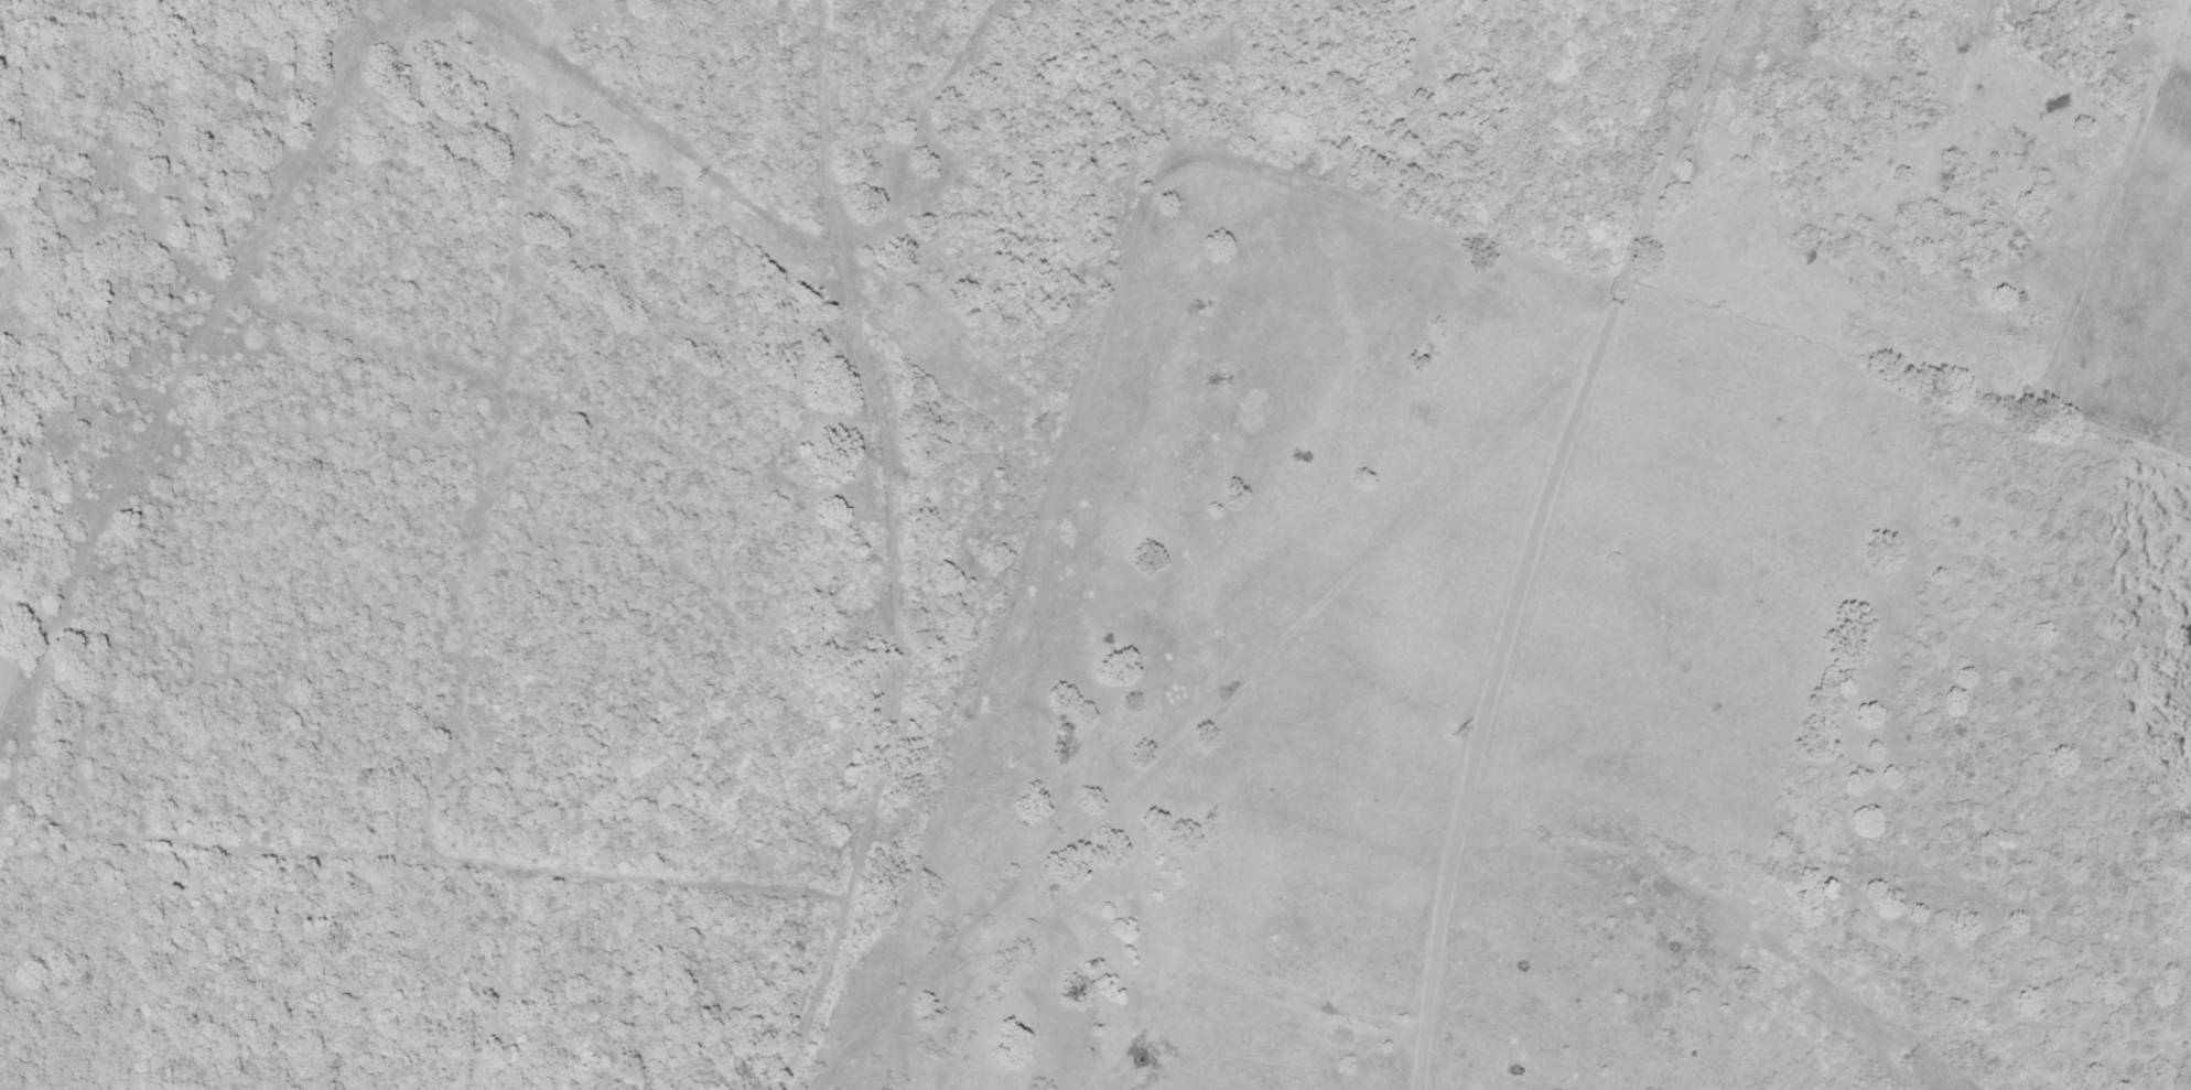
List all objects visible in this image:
power tower: (690, 177)
road: (1136, 320)
road: (105, 342)
power tower: (1038, 422)
road: (25, 477)
road: (48, 633)
road: (1681, 672)
power tower: (1458, 731)
road: (31, 866)
road: (936, 988)
power tower: (1903, 1058)

